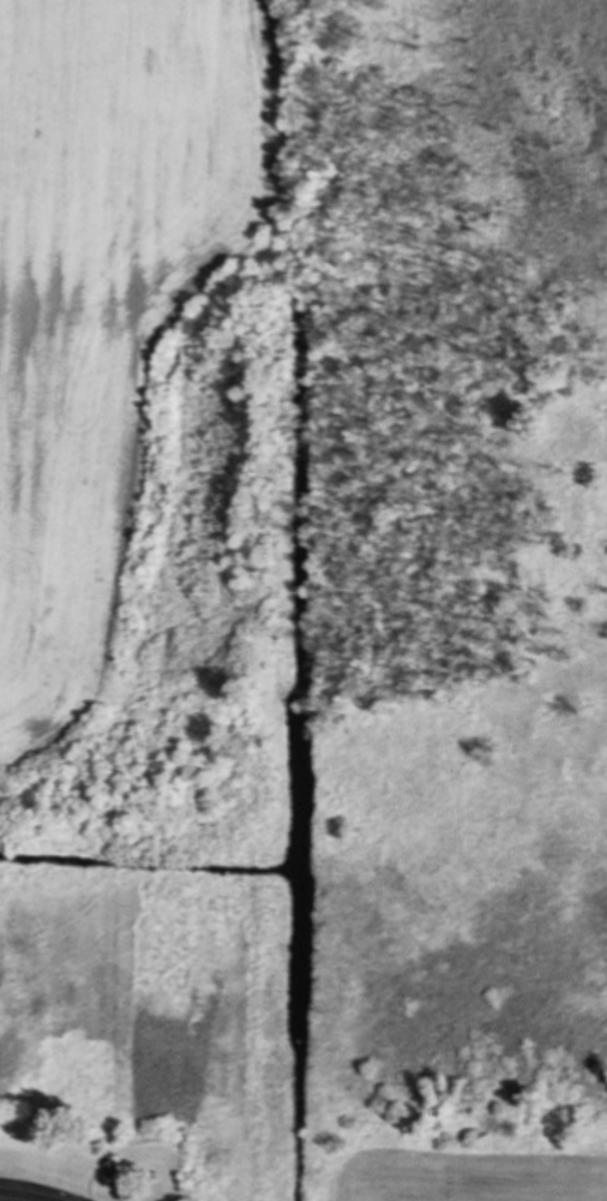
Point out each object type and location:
crop: (106, 287)
road: (32, 1191)

